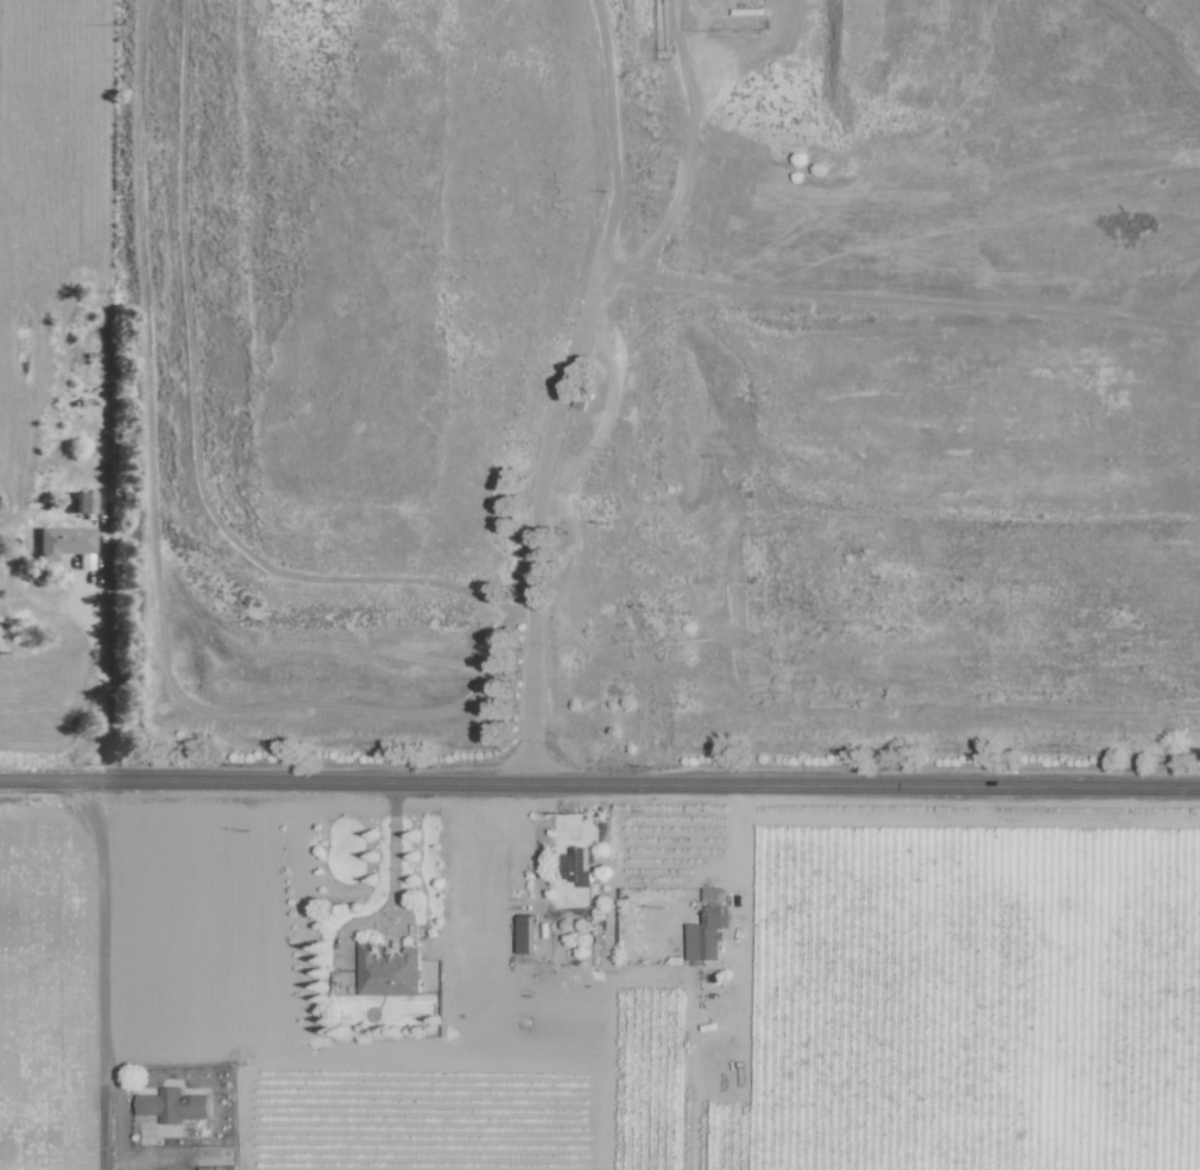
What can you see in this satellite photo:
road: (567, 374)
building: (84, 502)
building: (64, 542)
building: (86, 561)
road: (106, 678)
road: (600, 784)
road: (393, 849)
road: (738, 850)
building: (576, 866)
building: (708, 926)
building: (525, 935)
building: (387, 969)
road: (102, 974)
building: (173, 1105)
building: (217, 1168)

